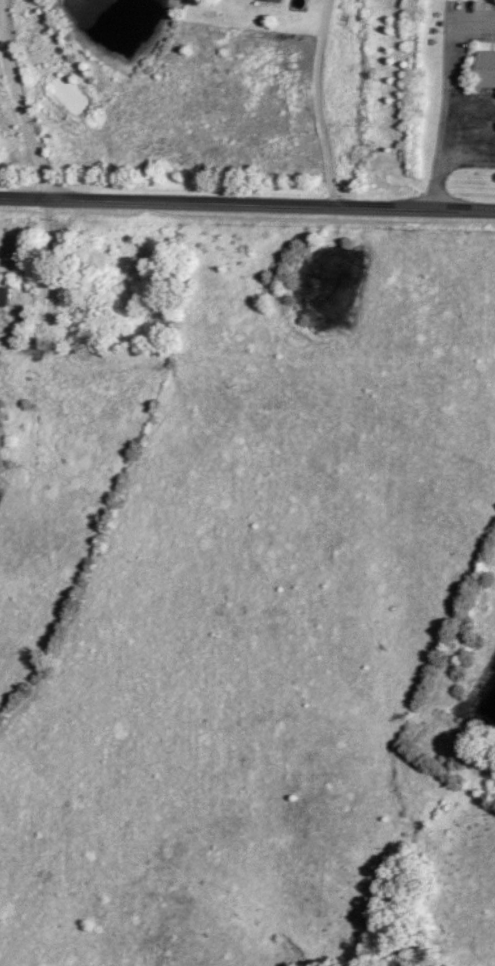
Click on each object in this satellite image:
building: (274, 1)
building: (488, 70)
road: (17, 103)
road: (325, 106)
road: (247, 208)
building: (6, 297)

